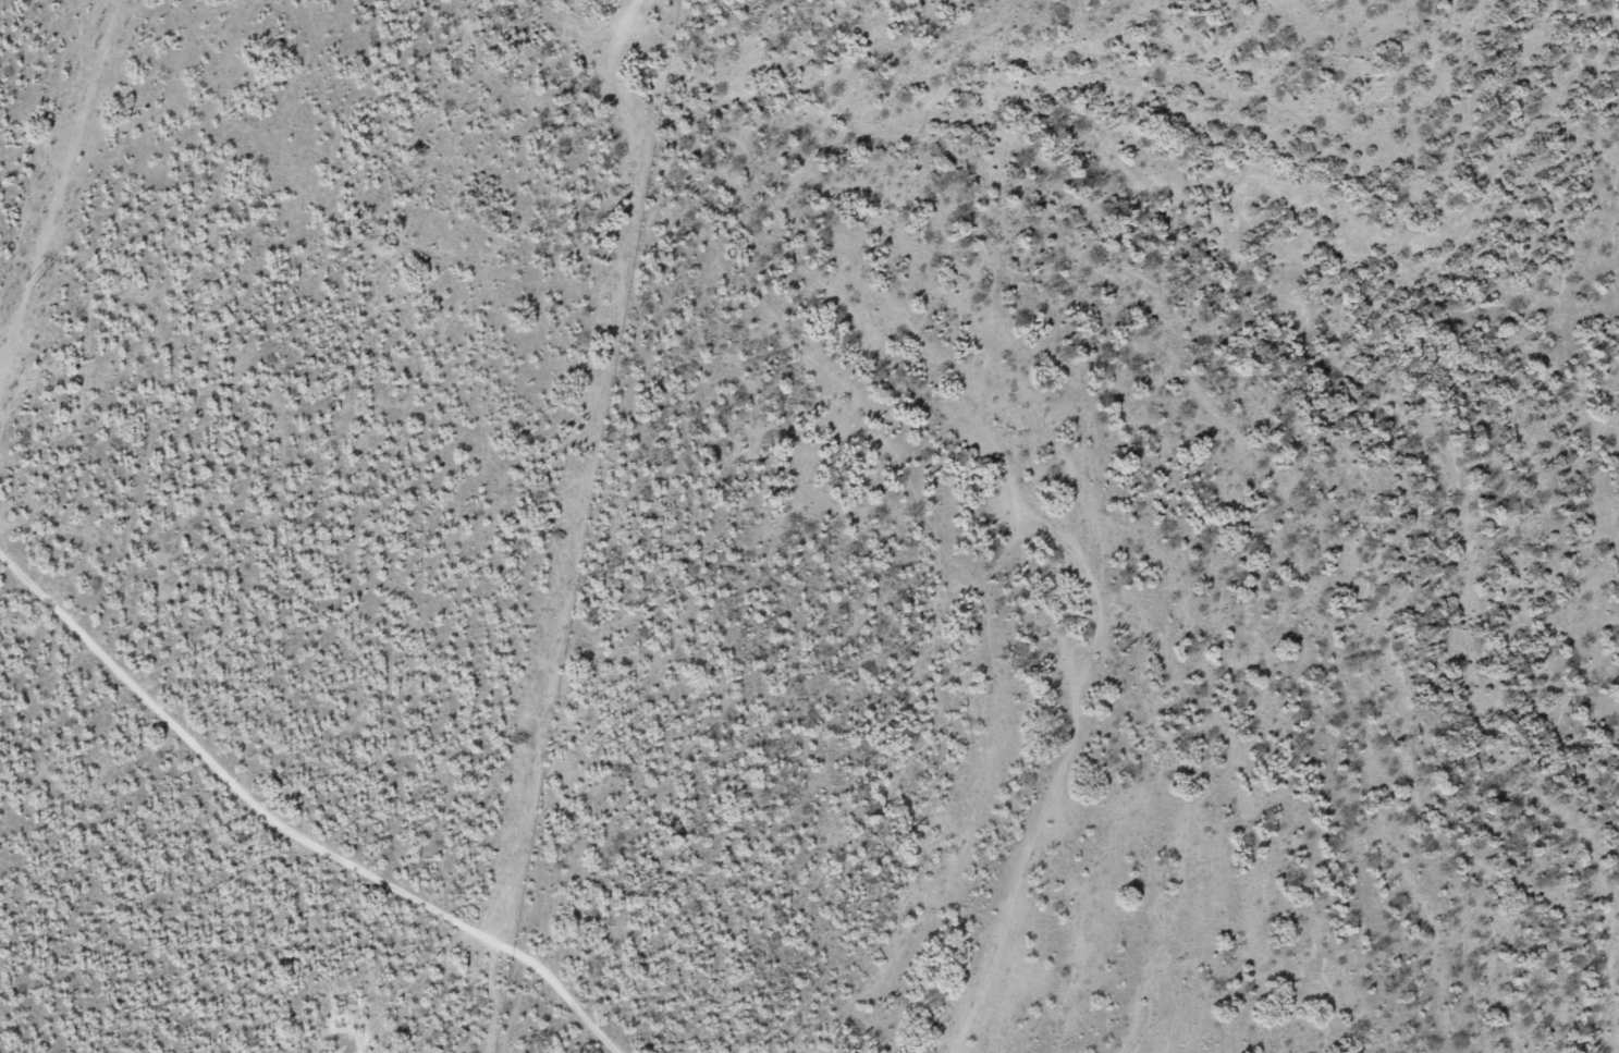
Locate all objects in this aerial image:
power tower: (29, 280)
road: (285, 841)

